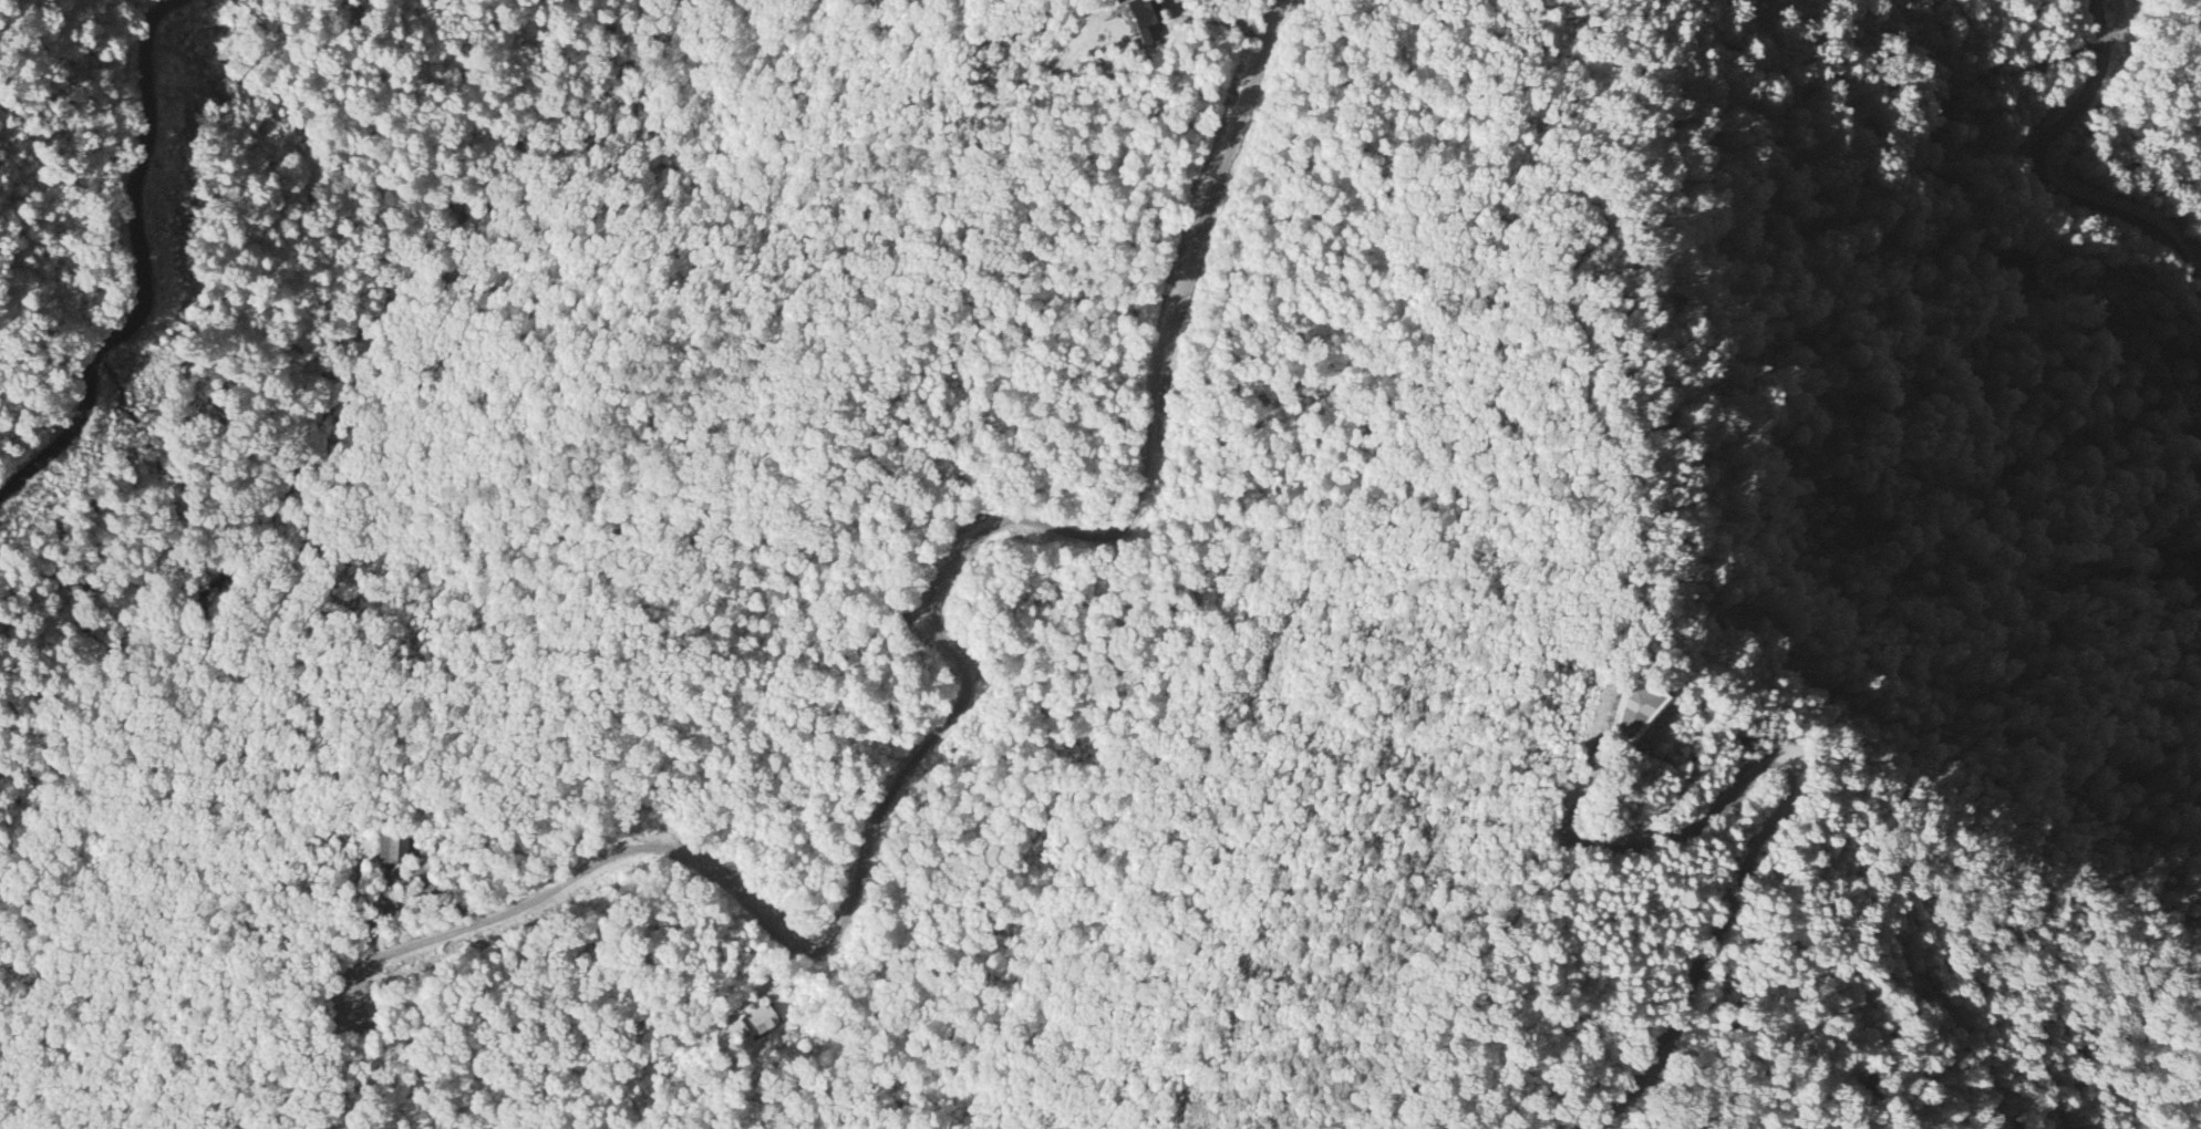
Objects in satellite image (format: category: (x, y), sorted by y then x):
building: (1146, 20)
road: (2098, 21)
road: (2039, 182)
road: (143, 270)
building: (2018, 277)
road: (959, 663)
road: (1779, 807)
building: (392, 850)
building: (764, 1019)

